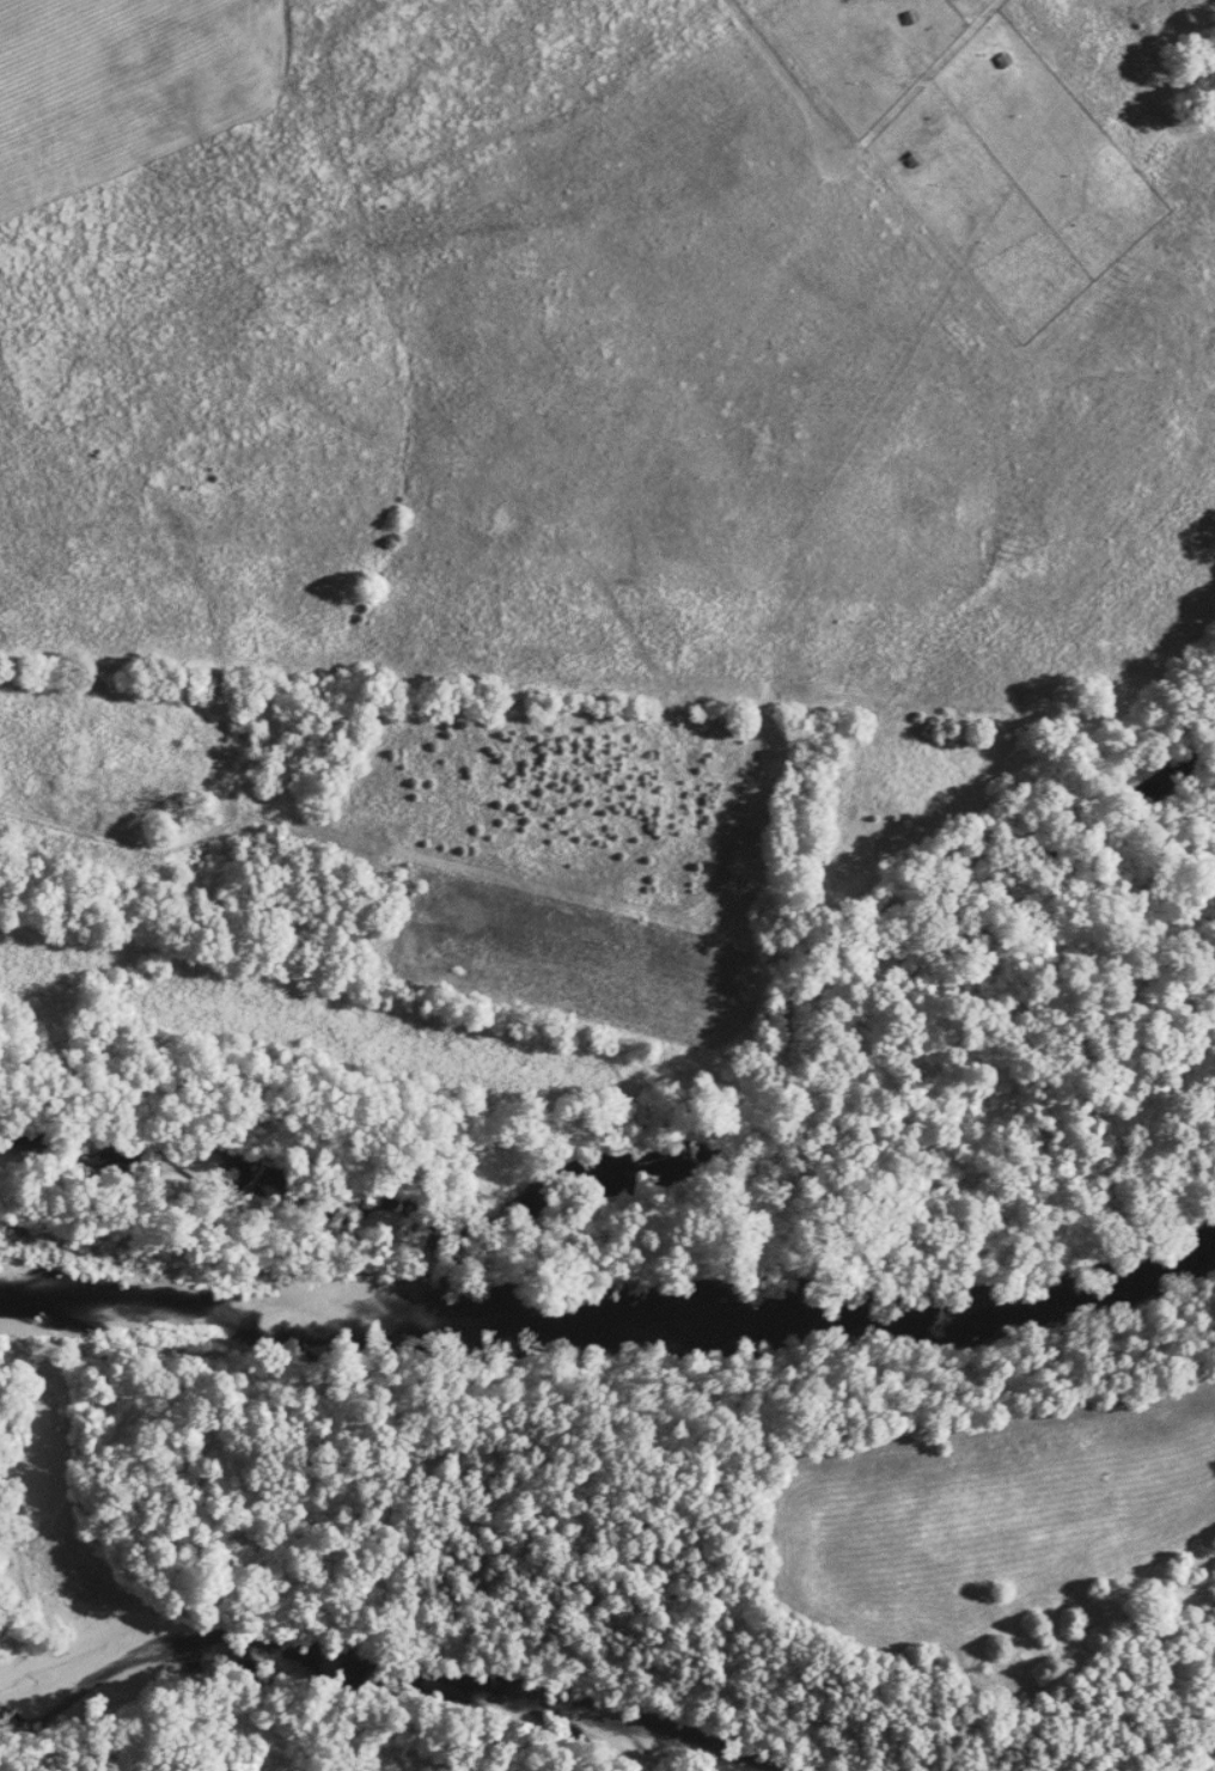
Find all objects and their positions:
river: (607, 1319)

